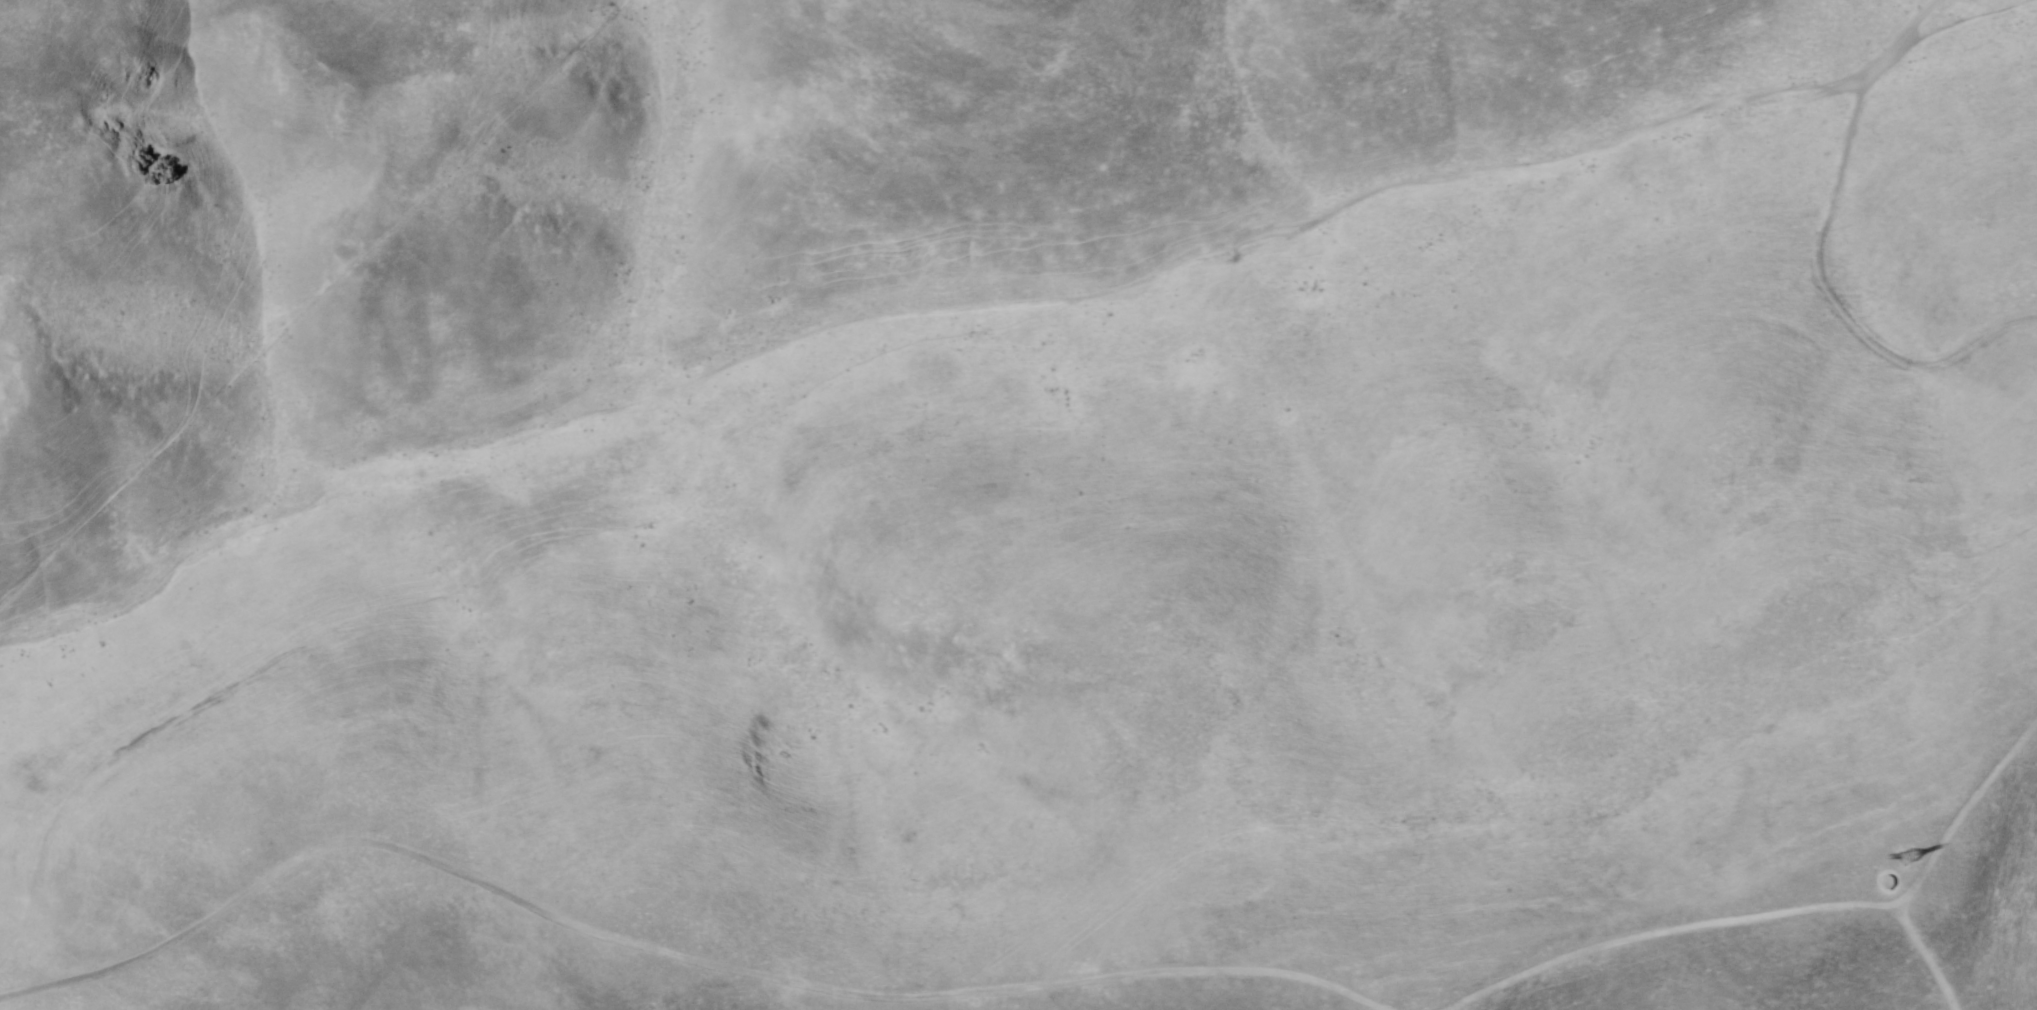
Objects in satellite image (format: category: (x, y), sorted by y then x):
road: (1810, 258)
power tower: (1909, 858)
building: (1887, 883)

